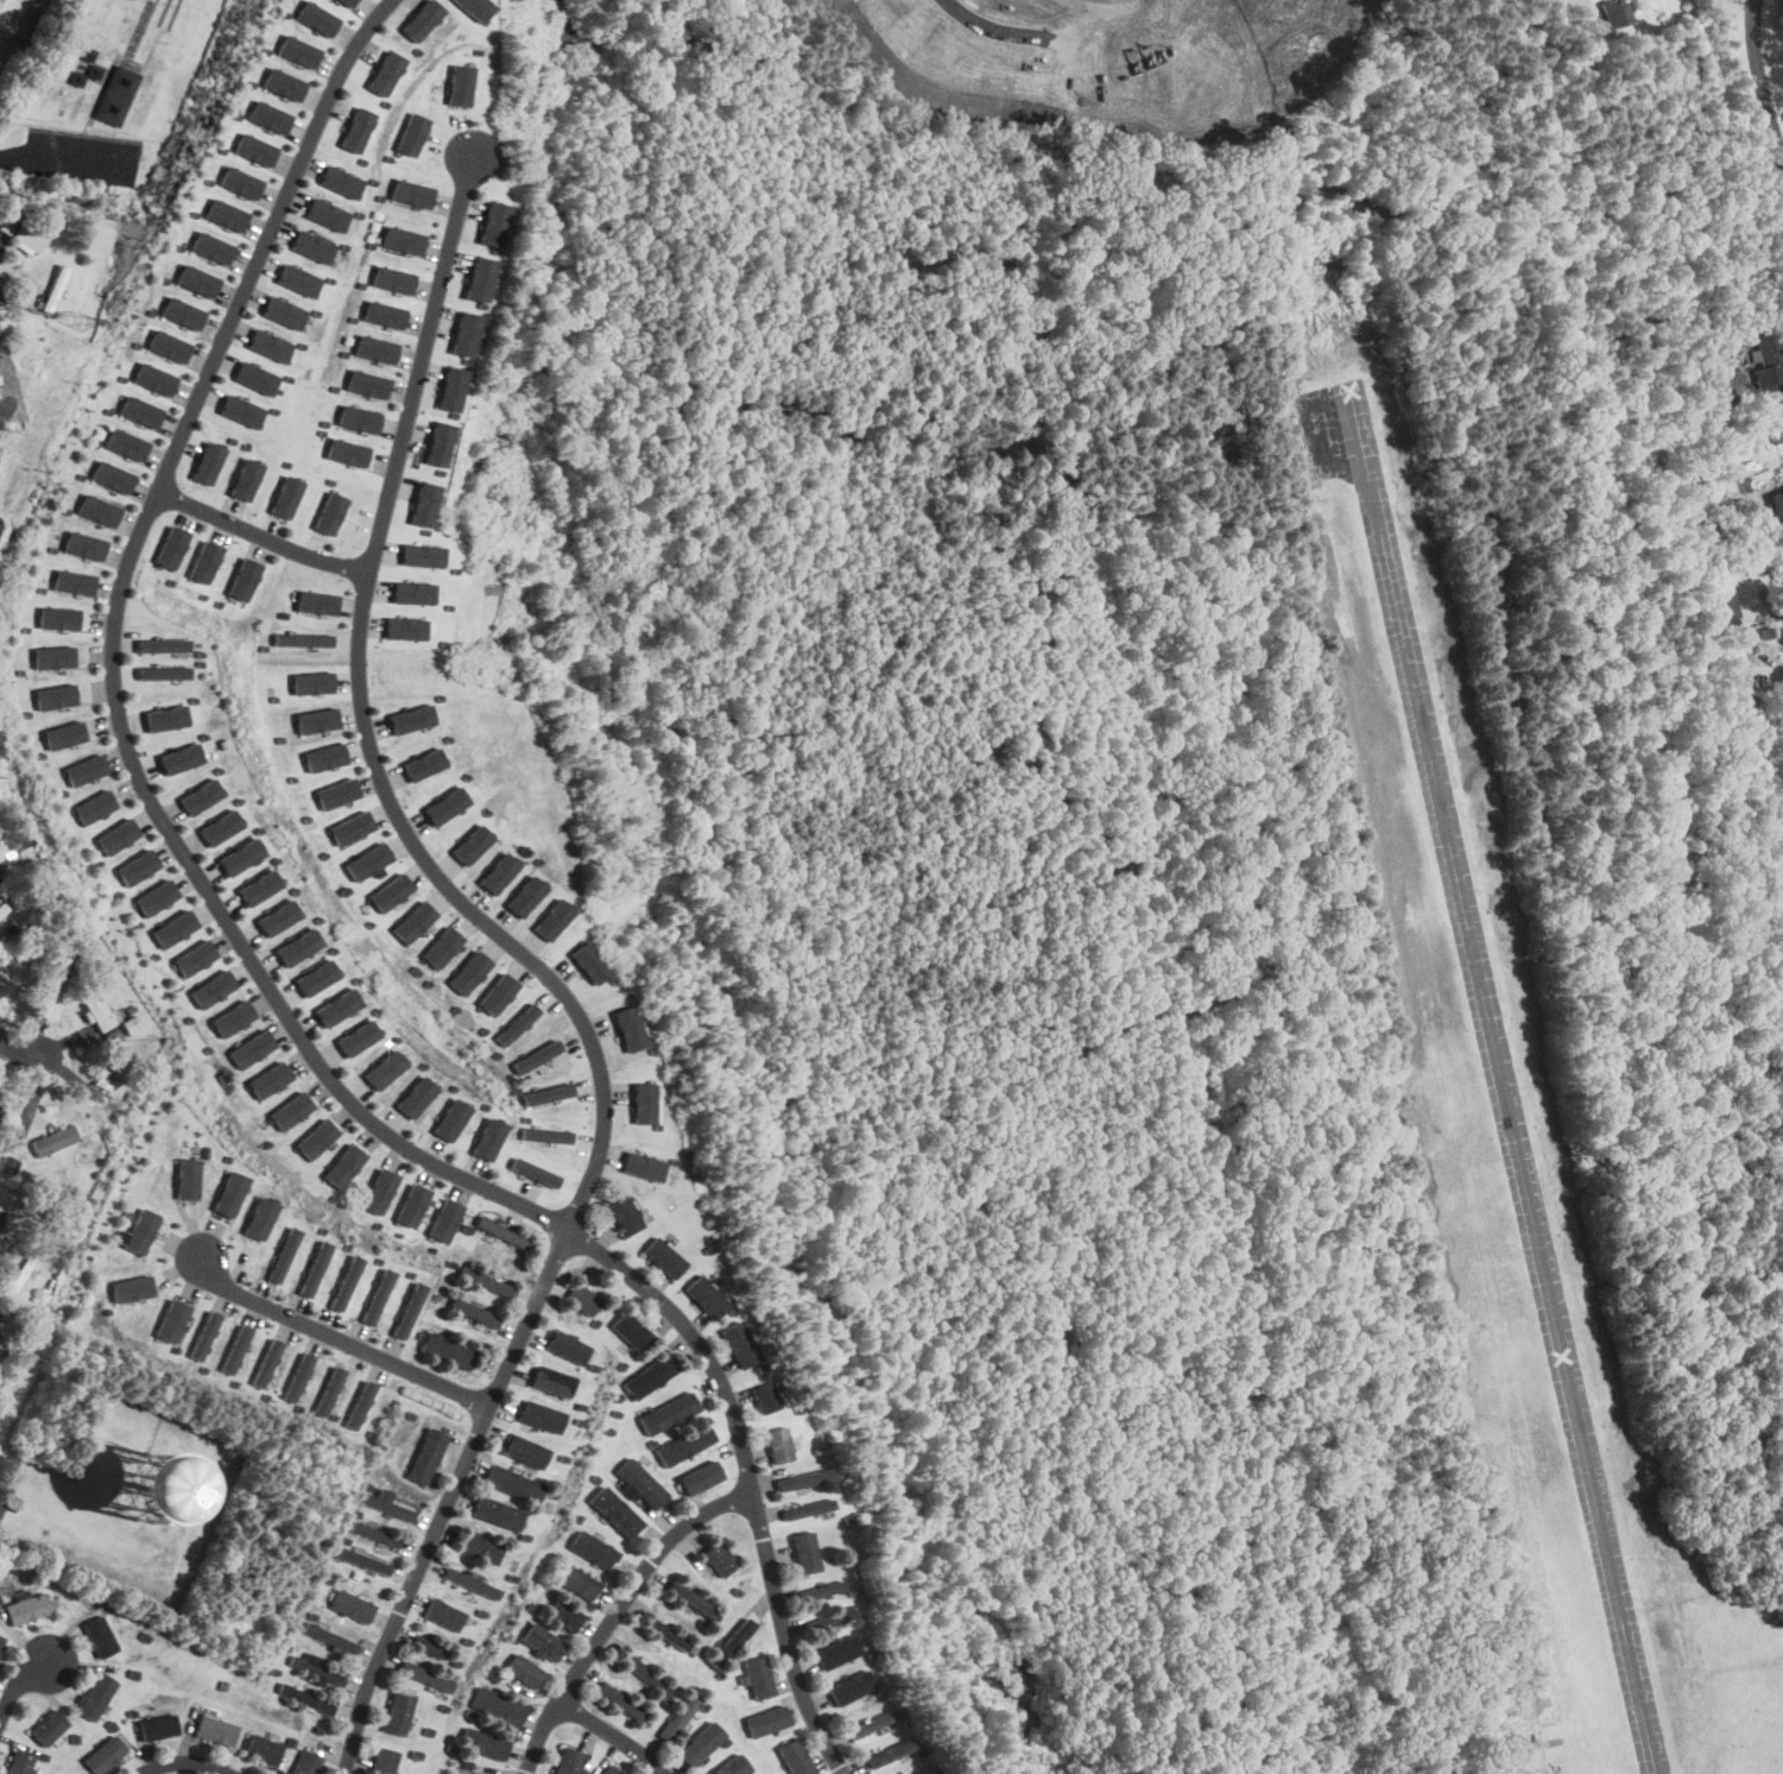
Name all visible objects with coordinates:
road: (1746, 1)
building: (348, 2)
building: (475, 7)
building: (1614, 12)
building: (316, 18)
building: (421, 19)
road: (1043, 33)
road: (1205, 49)
building: (297, 50)
building: (95, 71)
building: (385, 72)
road: (1760, 82)
building: (283, 83)
building: (460, 84)
building: (115, 95)
building: (270, 116)
building: (358, 130)
building: (412, 134)
building: (254, 149)
road: (65, 158)
building: (341, 181)
building: (240, 182)
building: (411, 192)
building: (327, 213)
building: (226, 214)
building: (492, 223)
building: (30, 238)
building: (403, 239)
building: (312, 246)
building: (211, 247)
building: (479, 278)
building: (298, 279)
building: (393, 279)
building: (197, 280)
building: (55, 289)
building: (284, 311)
building: (183, 312)
building: (385, 314)
power tower: (78, 323)
building: (464, 333)
building: (270, 345)
building: (169, 346)
building: (375, 348)
building: (1768, 356)
building: (255, 377)
building: (156, 378)
building: (367, 383)
building: (451, 389)
building: (0, 394)
building: (241, 410)
building: (140, 411)
building: (359, 418)
building: (1775, 419)
building: (126, 443)
building: (437, 443)
building: (347, 452)
building: (208, 462)
building: (112, 476)
building: (246, 479)
building: (285, 497)
building: (1777, 501)
building: (423, 504)
building: (97, 510)
building: (329, 513)
road: (260, 536)
building: (83, 544)
building: (171, 547)
building: (422, 555)
building: (206, 561)
building: (1753, 563)
building: (244, 579)
building: (74, 581)
building: (412, 592)
building: (316, 602)
building: (1726, 607)
building: (58, 617)
building: (406, 629)
building: (303, 639)
building: (163, 645)
building: (53, 656)
building: (164, 673)
building: (312, 682)
building: (55, 696)
building: (166, 718)
building: (316, 719)
building: (412, 719)
building: (64, 734)
building: (324, 757)
building: (181, 758)
building: (424, 764)
building: (84, 770)
building: (336, 793)
building: (201, 796)
building: (447, 804)
building: (94, 807)
building: (220, 827)
building: (350, 827)
building: (118, 837)
building: (473, 844)
building: (241, 856)
building: (369, 861)
building: (137, 866)
building: (499, 872)
building: (1, 873)
building: (259, 886)
building: (391, 891)
building: (526, 896)
building: (157, 897)
building: (2, 909)
building: (278, 917)
building: (554, 918)
building: (413, 921)
building: (175, 928)
building: (298, 947)
building: (442, 947)
building: (195, 958)
road: (252, 961)
building: (590, 962)
road: (532, 964)
building: (470, 972)
building: (316, 977)
building: (1, 979)
building: (52, 985)
building: (213, 989)
building: (499, 993)
building: (337, 1006)
building: (100, 1010)
building: (233, 1017)
building: (518, 1023)
building: (630, 1028)
building: (358, 1037)
road: (18, 1047)
building: (252, 1048)
building: (537, 1056)
building: (384, 1068)
building: (108, 1071)
building: (268, 1079)
building: (548, 1093)
building: (416, 1096)
building: (644, 1103)
building: (0, 1109)
building: (291, 1110)
building: (451, 1119)
building: (545, 1135)
building: (316, 1137)
building: (488, 1138)
building: (53, 1139)
building: (11, 1164)
building: (343, 1164)
building: (643, 1166)
building: (533, 1172)
building: (186, 1179)
building: (380, 1191)
building: (229, 1193)
building: (412, 1205)
building: (624, 1213)
building: (260, 1217)
building: (444, 1219)
building: (1, 1220)
building: (138, 1231)
building: (502, 1233)
building: (283, 1255)
building: (664, 1257)
building: (315, 1268)
building: (346, 1282)
building: (486, 1282)
building: (132, 1288)
building: (377, 1296)
building: (706, 1296)
building: (583, 1299)
building: (407, 1309)
building: (472, 1312)
building: (172, 1320)
building: (632, 1331)
building: (204, 1334)
road: (335, 1338)
building: (739, 1344)
building: (568, 1346)
building: (236, 1349)
building: (447, 1350)
building: (267, 1362)
building: (298, 1376)
building: (651, 1376)
building: (551, 1381)
building: (330, 1390)
building: (765, 1397)
building: (361, 1404)
building: (668, 1413)
building: (540, 1416)
building: (685, 1445)
building: (778, 1445)
building: (525, 1451)
building: (426, 1456)
building: (701, 1477)
building: (805, 1479)
building: (512, 1483)
building: (641, 1483)
water tower: (153, 1485)
building: (385, 1507)
building: (807, 1510)
building: (615, 1511)
building: (498, 1513)
building: (375, 1534)
building: (480, 1548)
building: (594, 1549)
building: (805, 1552)
building: (719, 1559)
building: (362, 1560)
building: (470, 1583)
building: (578, 1583)
building: (821, 1590)
building: (693, 1599)
building: (352, 1606)
building: (26, 1609)
road: (620, 1614)
building: (443, 1615)
building: (564, 1616)
building: (832, 1620)
building: (668, 1634)
building: (100, 1636)
building: (329, 1637)
building: (1, 1641)
building: (543, 1642)
building: (731, 1643)
building: (429, 1647)
building: (842, 1653)
building: (316, 1671)
building: (523, 1671)
building: (644, 1672)
building: (425, 1677)
building: (758, 1678)
building: (855, 1686)
road: (19, 1688)
building: (95, 1696)
building: (305, 1698)
building: (620, 1702)
building: (498, 1706)
building: (1522, 1706)
building: (397, 1713)
building: (678, 1717)
building: (767, 1722)
building: (877, 1724)
building: (49, 1726)
building: (158, 1726)
building: (214, 1730)
road: (614, 1735)
building: (485, 1744)
building: (700, 1744)
building: (1530, 1745)
building: (263, 1749)
building: (893, 1751)
building: (105, 1755)
building: (795, 1757)
road: (186, 1761)
building: (382, 1761)
building: (568, 1761)
building: (19, 1762)
building: (305, 1763)
building: (732, 1766)
building: (611, 1770)
building: (928, 1770)
building: (1539, 1772)
building: (479, 1773)

